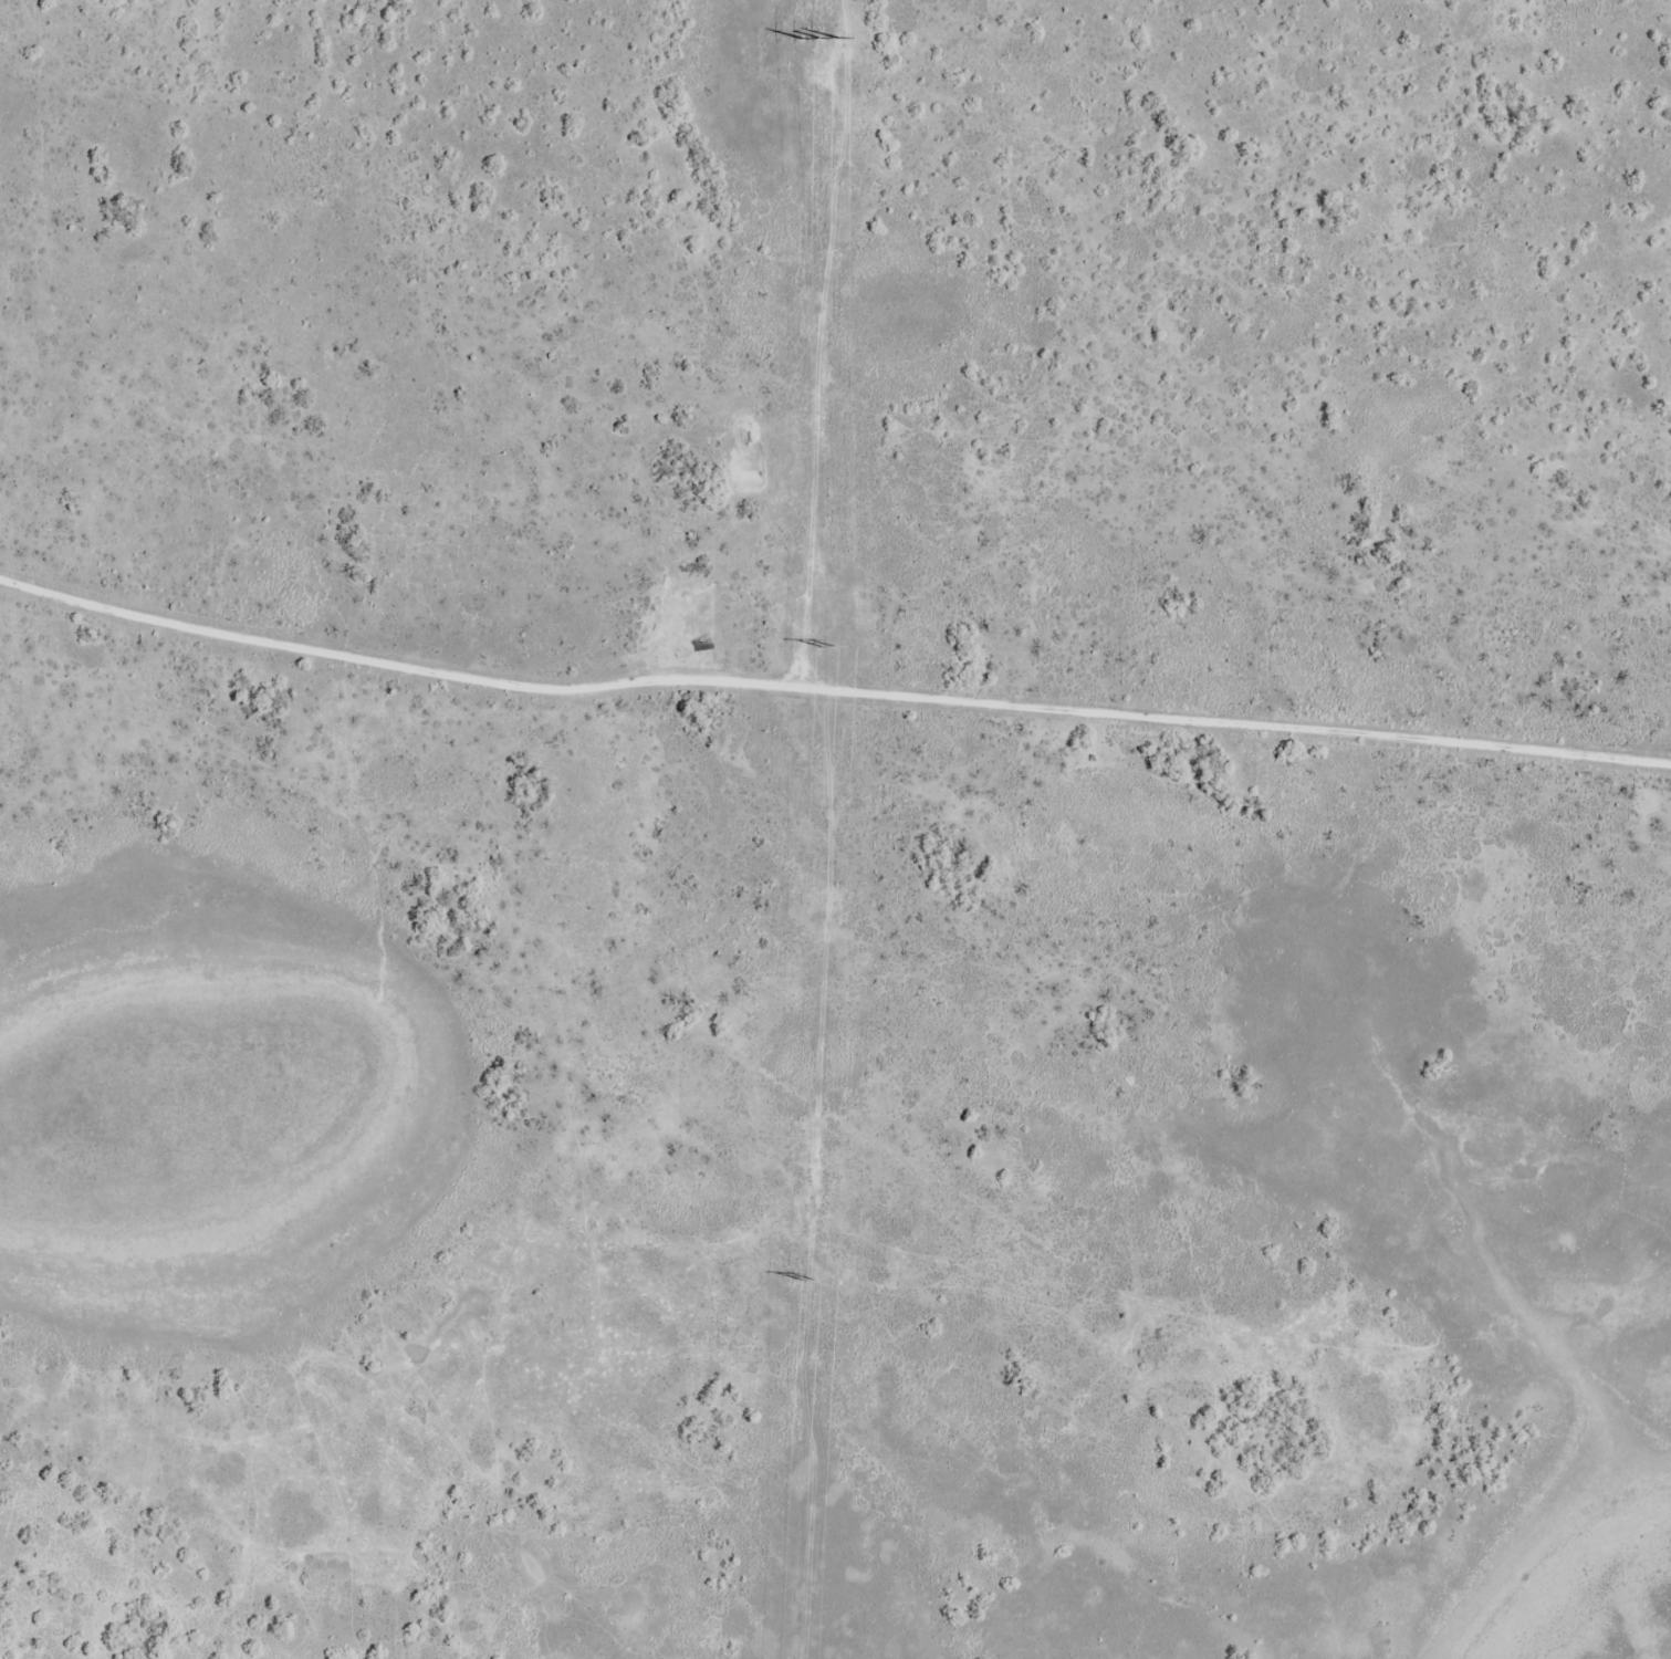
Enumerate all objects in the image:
power tower: (823, 28)
road: (829, 630)
power tower: (835, 646)
power tower: (814, 1281)

